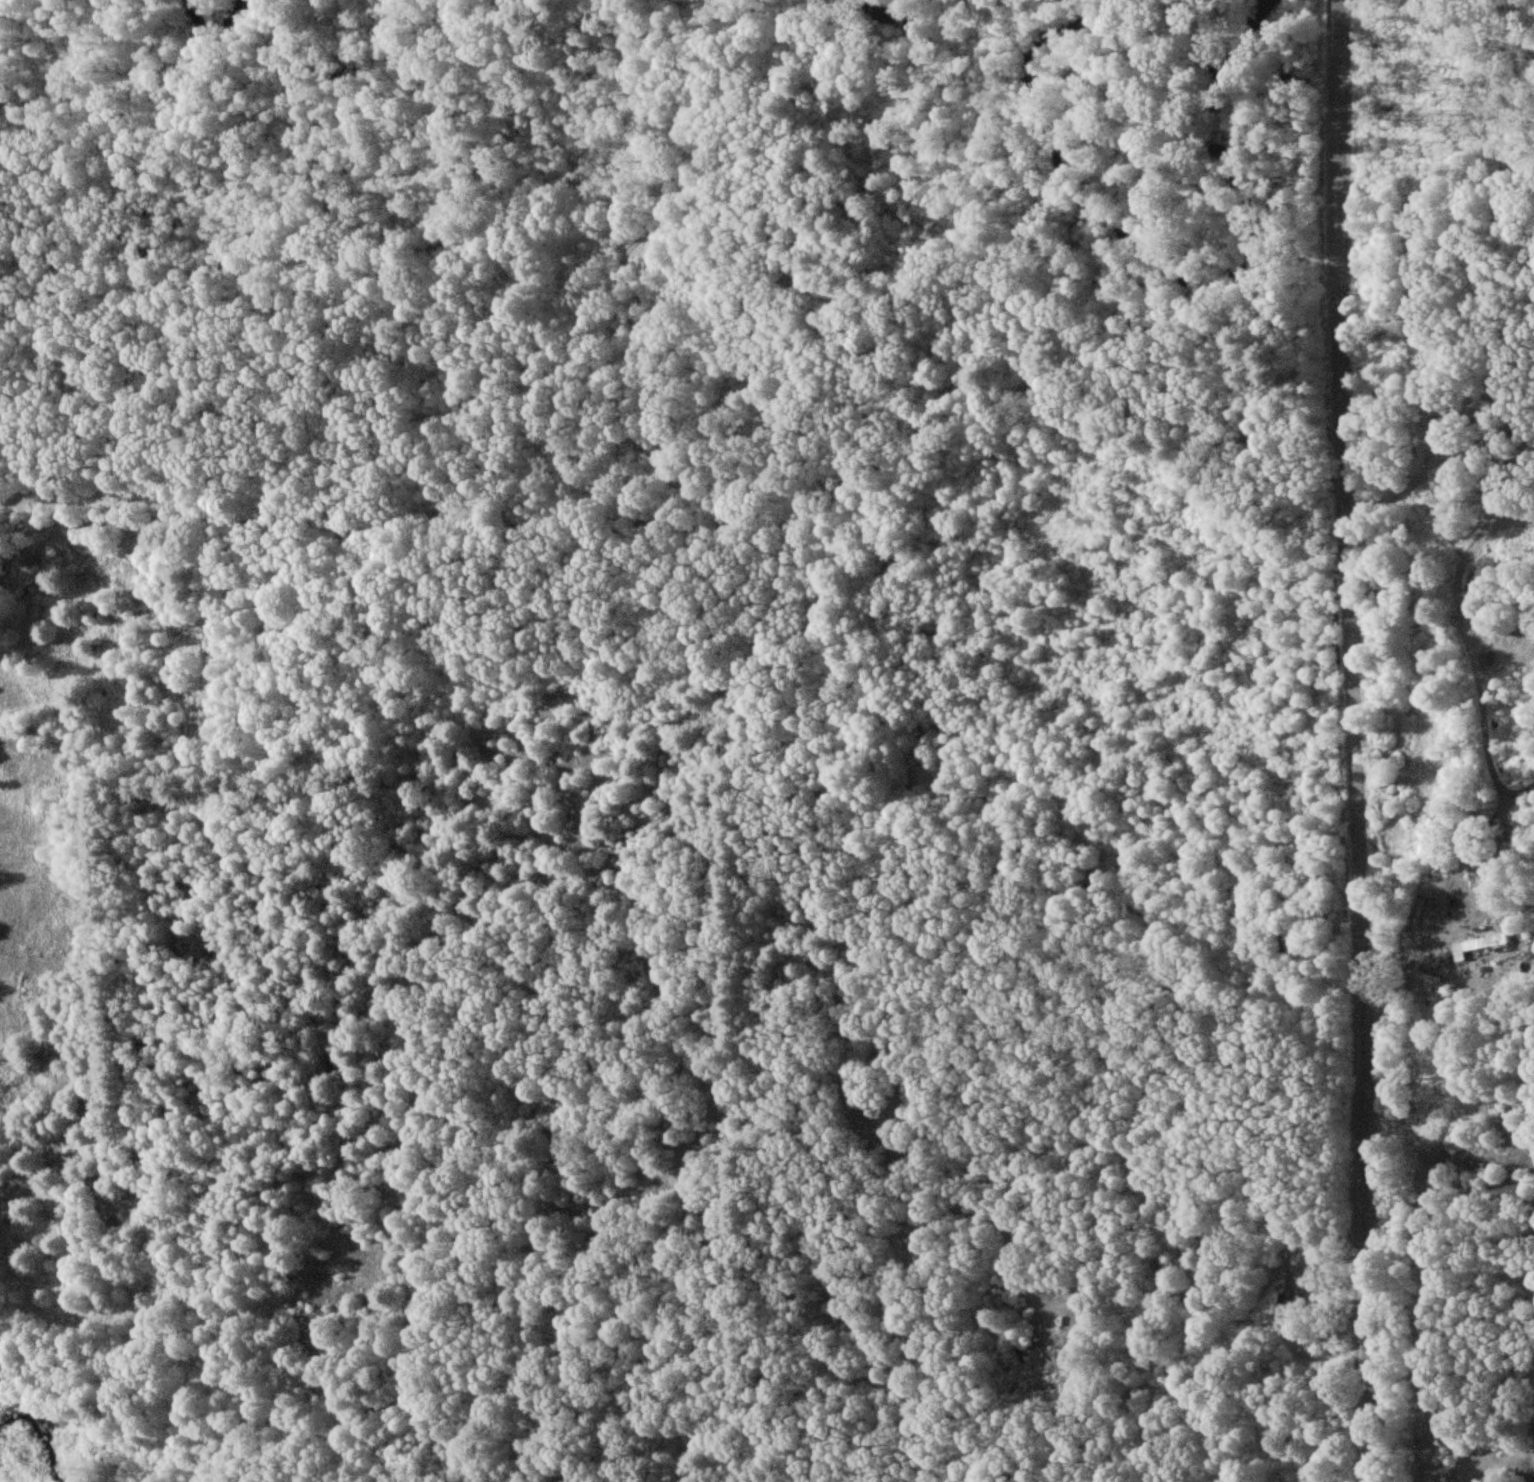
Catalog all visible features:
road: (63, 524)
road: (1460, 569)
road: (1351, 741)
road: (1440, 912)
building: (1478, 945)

